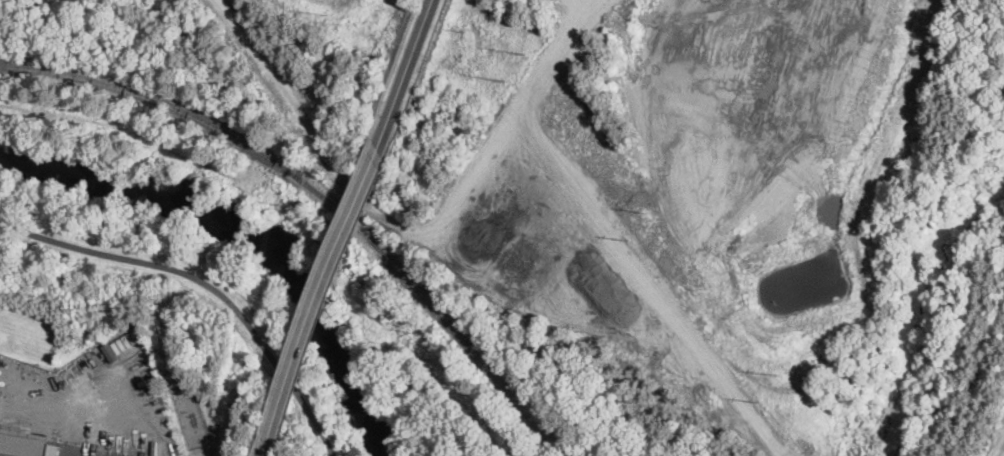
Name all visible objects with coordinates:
road: (393, 68)
road: (404, 74)
landfill: (216, 79)
landfill: (734, 218)
park: (159, 225)
road: (207, 281)
road: (315, 291)
road: (517, 298)
road: (321, 301)
road: (681, 377)
park: (404, 400)
building: (22, 443)
building: (52, 448)
road: (254, 450)
road: (1001, 453)
road: (260, 454)

